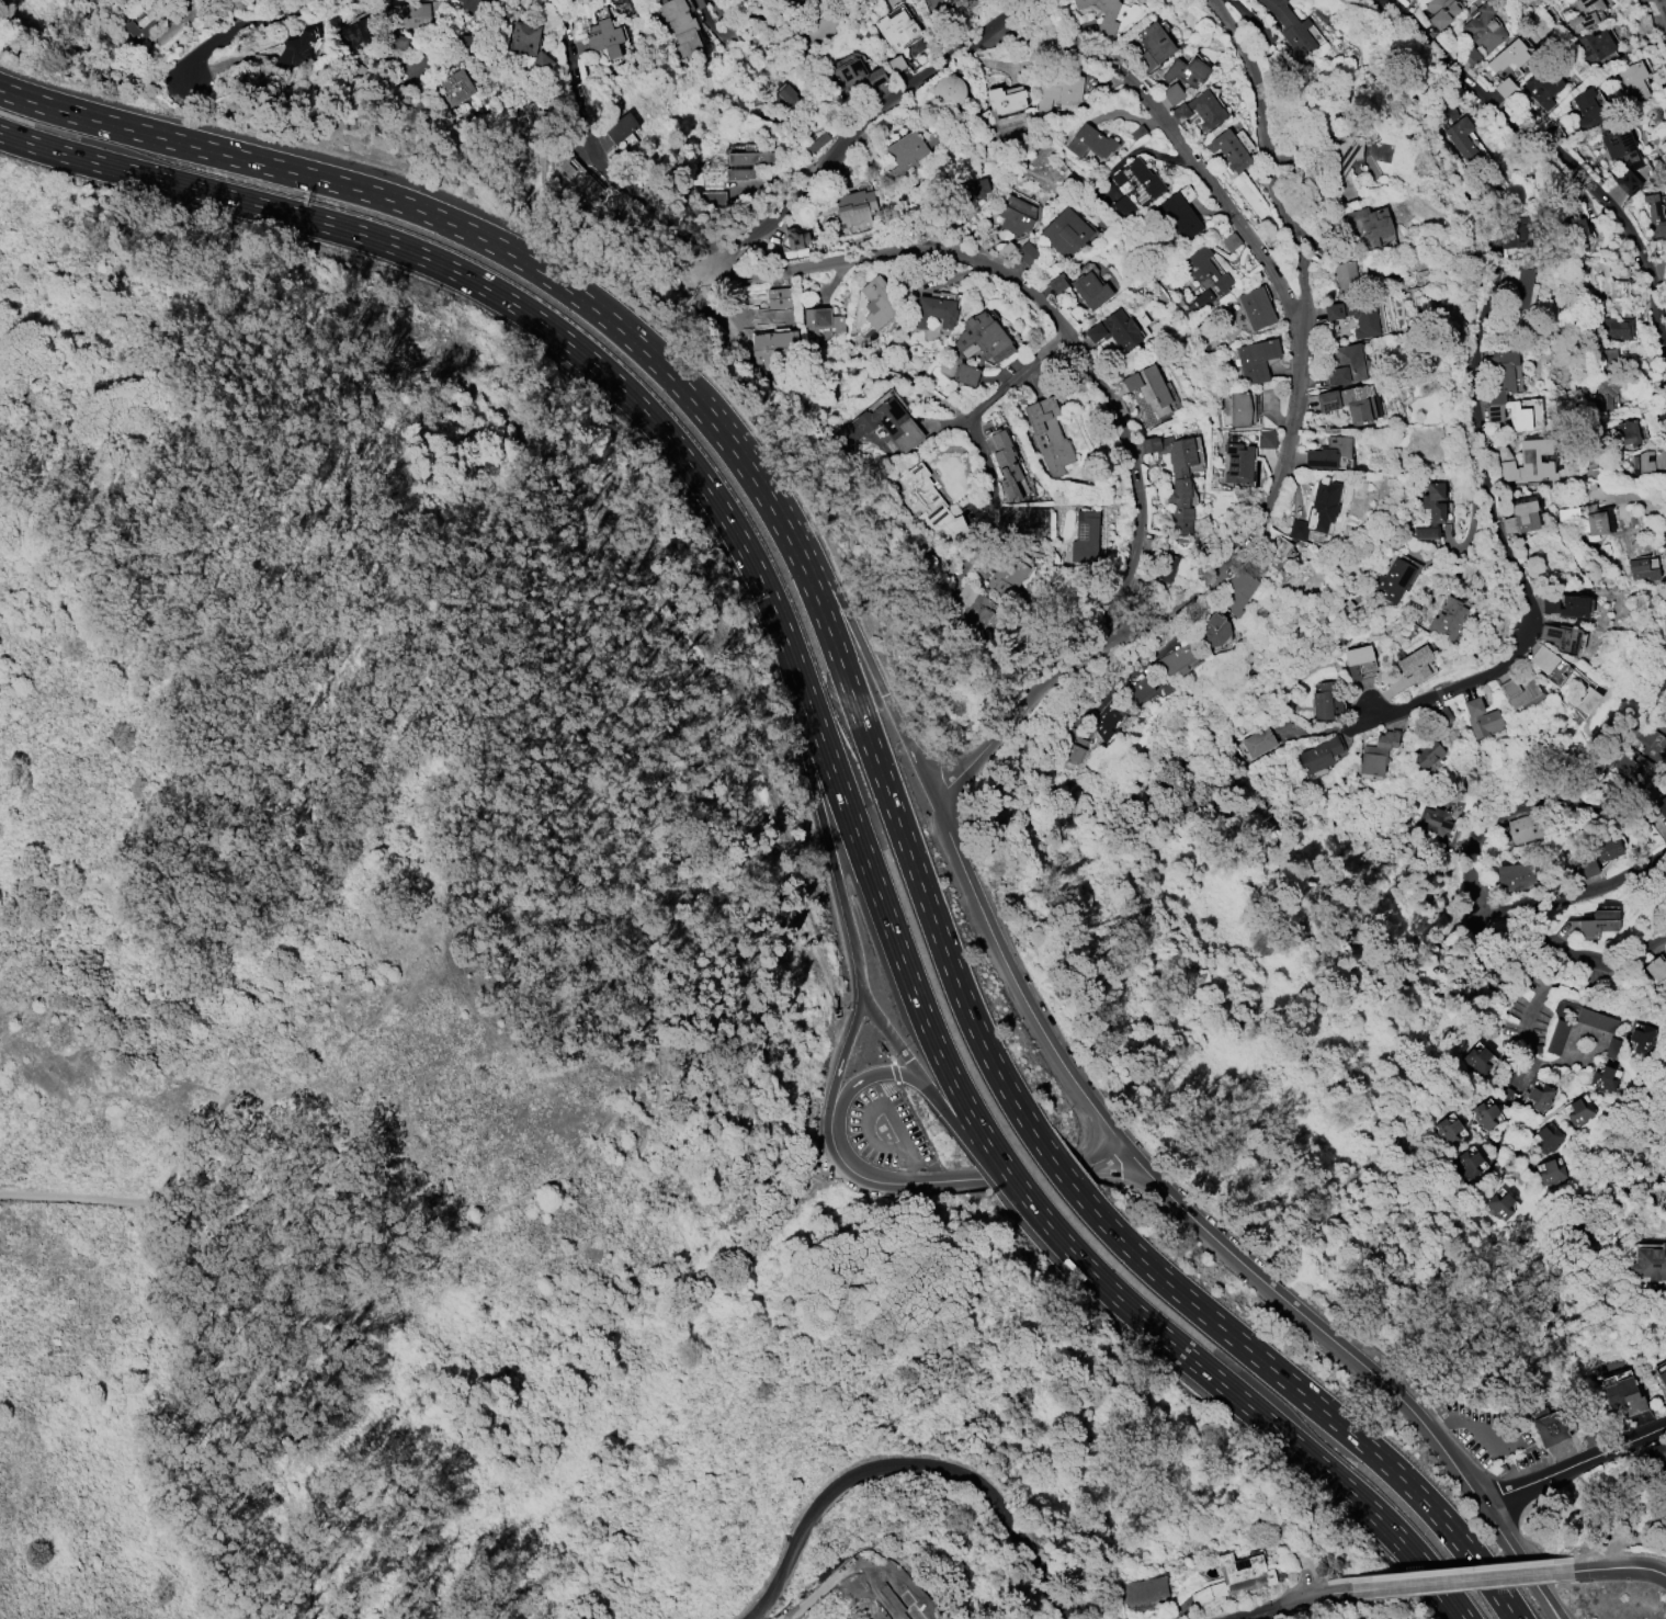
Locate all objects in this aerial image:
building: (190, 1)
road: (1665, 1)
building: (472, 4)
building: (941, 4)
building: (1440, 11)
building: (1585, 13)
building: (413, 14)
building: (1111, 14)
road: (750, 20)
building: (1642, 21)
road: (247, 25)
building: (680, 25)
building: (823, 26)
building: (1484, 26)
building: (1290, 27)
building: (897, 29)
building: (141, 30)
building: (361, 33)
building: (607, 37)
building: (397, 41)
building: (464, 44)
building: (530, 44)
building: (1153, 45)
building: (1593, 45)
building: (294, 52)
building: (1510, 54)
road: (216, 66)
building: (1186, 70)
building: (858, 73)
building: (1633, 79)
building: (1543, 87)
building: (456, 88)
building: (948, 88)
building: (1059, 90)
building: (1172, 92)
building: (787, 94)
building: (1587, 106)
building: (1200, 110)
building: (1020, 114)
building: (529, 116)
road: (859, 122)
building: (622, 127)
road: (1555, 128)
building: (1461, 136)
road: (1176, 139)
building: (1091, 141)
building: (1620, 145)
road: (589, 148)
building: (1228, 148)
building: (905, 154)
building: (736, 173)
building: (581, 178)
building: (1627, 181)
building: (1136, 186)
road: (375, 194)
building: (966, 199)
building: (852, 207)
building: (1178, 214)
building: (1018, 215)
building: (1654, 215)
building: (1369, 225)
building: (1066, 231)
building: (1579, 233)
building: (793, 240)
building: (1025, 252)
building: (1345, 275)
road: (468, 278)
building: (1204, 279)
building: (1517, 285)
building: (1091, 290)
building: (778, 296)
building: (879, 301)
building: (1256, 307)
building: (934, 312)
road: (1051, 313)
building: (1356, 314)
building: (821, 322)
building: (1616, 327)
building: (1117, 329)
building: (984, 337)
building: (773, 344)
building: (1256, 359)
building: (1346, 364)
building: (965, 373)
building: (1148, 387)
building: (1503, 389)
building: (1606, 390)
road: (991, 392)
building: (1351, 401)
building: (1239, 408)
road: (1473, 408)
road: (705, 416)
building: (900, 427)
building: (1628, 432)
building: (1050, 434)
building: (1266, 438)
building: (1330, 453)
building: (1006, 461)
building: (1529, 461)
building: (1648, 462)
building: (1237, 463)
road: (1283, 466)
building: (1176, 478)
building: (929, 503)
building: (1317, 510)
building: (1430, 510)
building: (1521, 516)
building: (1589, 519)
road: (1475, 522)
building: (1085, 536)
building: (1273, 561)
building: (1167, 566)
building: (1641, 568)
building: (1393, 579)
building: (1008, 580)
building: (1237, 591)
road: (839, 600)
building: (1566, 604)
building: (973, 609)
building: (1448, 616)
road: (1192, 626)
building: (1214, 630)
building: (1560, 635)
building: (1177, 658)
building: (1359, 660)
building: (1415, 663)
building: (1548, 664)
building: (1158, 681)
building: (1137, 690)
building: (1518, 690)
building: (1586, 699)
building: (1326, 701)
building: (1481, 716)
building: (1107, 718)
building: (1258, 740)
building: (1651, 741)
building: (1075, 749)
building: (1321, 752)
building: (1376, 752)
building: (1427, 752)
building: (1635, 768)
road: (1567, 777)
building: (1662, 804)
road: (818, 811)
building: (1433, 819)
building: (1526, 826)
building: (1608, 848)
building: (1588, 868)
building: (1516, 875)
road: (1569, 890)
building: (1597, 922)
road: (889, 925)
road: (1551, 953)
building: (1655, 966)
road: (1544, 985)
building: (1585, 1016)
building: (1556, 1035)
building: (1642, 1037)
road: (900, 1050)
road: (841, 1055)
building: (1477, 1058)
road: (1563, 1061)
road: (1531, 1066)
road: (882, 1072)
building: (1602, 1078)
road: (643, 1087)
building: (1507, 1091)
road: (1009, 1094)
building: (1540, 1096)
road: (1091, 1108)
building: (1578, 1111)
road: (868, 1113)
building: (1484, 1114)
road: (921, 1128)
parking lot: (885, 1129)
building: (1448, 1130)
road: (1087, 1136)
building: (1548, 1139)
road: (190, 1150)
road: (986, 1157)
road: (1102, 1157)
road: (905, 1163)
building: (1466, 1163)
road: (855, 1170)
building: (1550, 1171)
road: (942, 1179)
building: (1499, 1204)
building: (1650, 1263)
road: (205, 1338)
building: (1662, 1377)
road: (1389, 1390)
building: (1623, 1394)
road: (1248, 1405)
road: (1462, 1423)
building: (1552, 1425)
parking lot: (1487, 1435)
building: (1654, 1457)
road: (909, 1463)
road: (1575, 1465)
building: (1500, 1471)
road: (1486, 1514)
road: (1620, 1566)
road: (1663, 1571)
building: (1235, 1575)
road: (1449, 1580)
road: (1302, 1581)
building: (1142, 1588)
road: (1297, 1598)
road: (1549, 1608)
road: (1552, 1608)
road: (1250, 1612)

